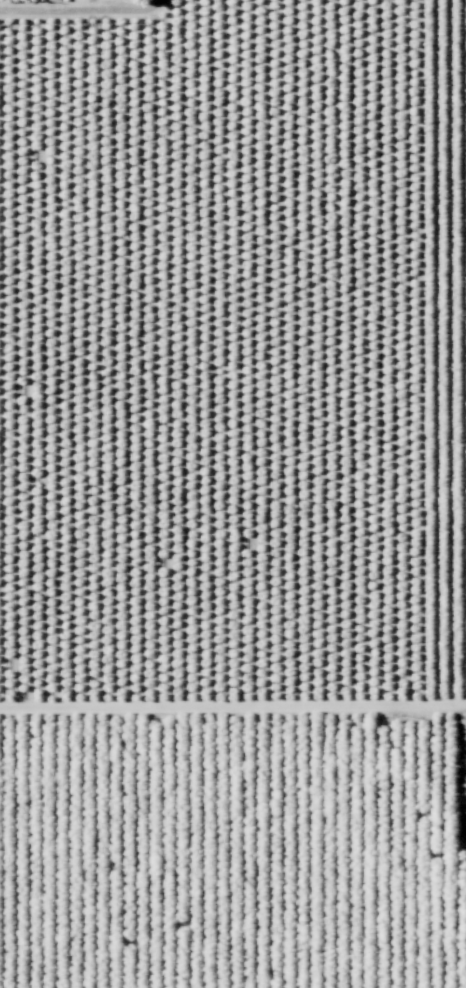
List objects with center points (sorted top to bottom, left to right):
road: (464, 750)

